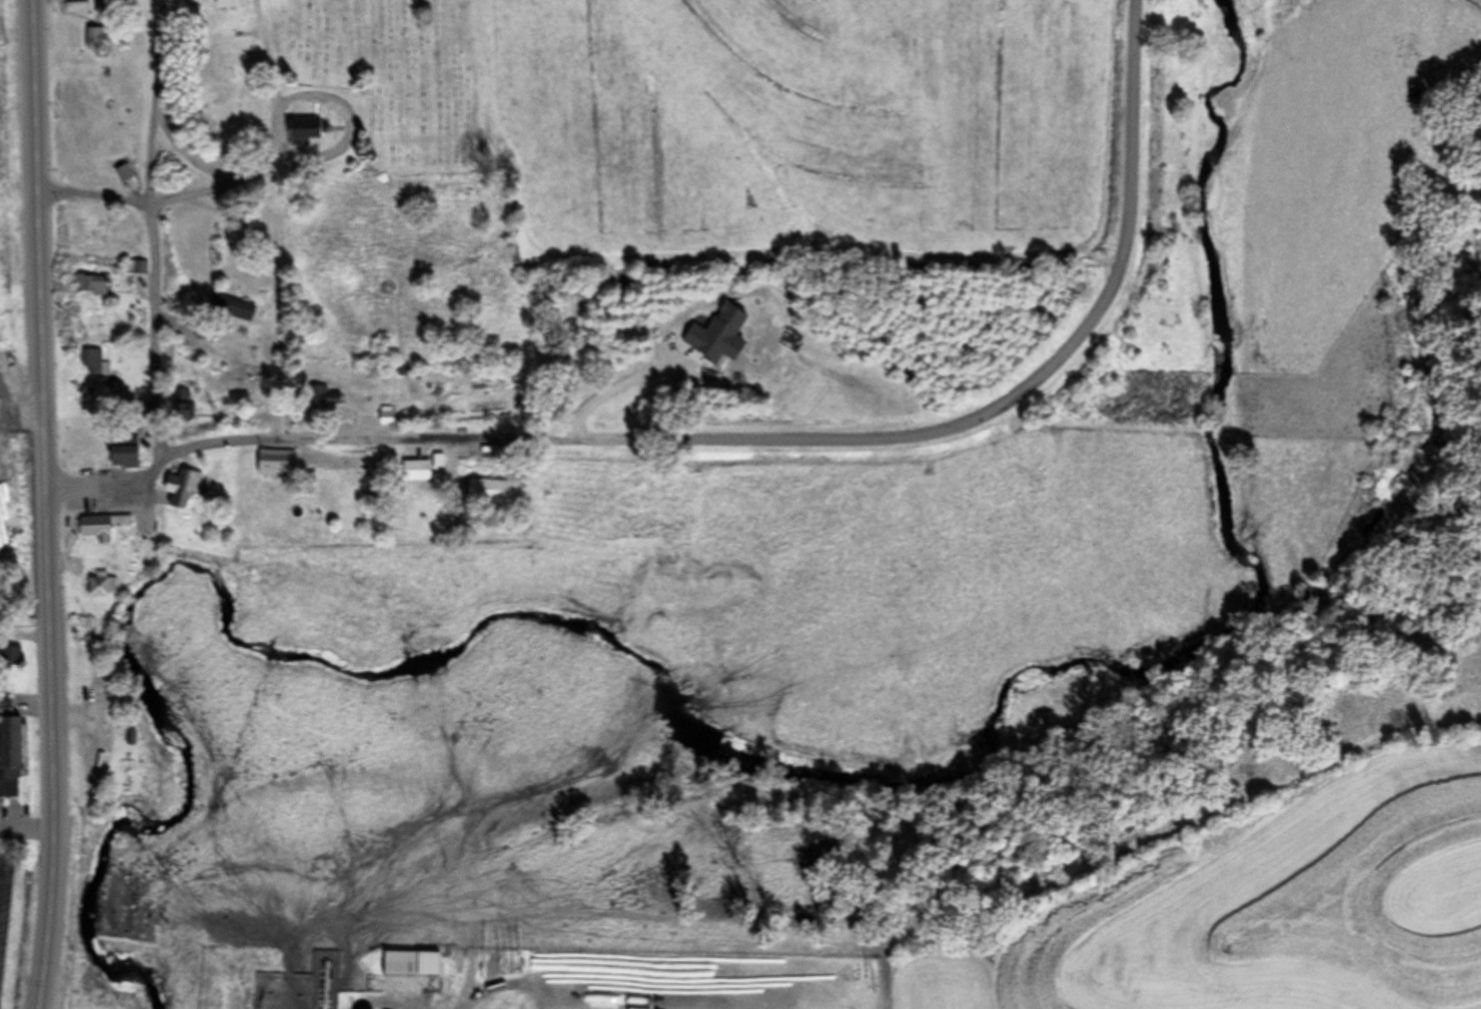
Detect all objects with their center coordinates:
building: (75, 2)
building: (228, 4)
building: (98, 40)
road: (268, 58)
park: (403, 76)
road: (155, 102)
building: (303, 130)
road: (331, 152)
road: (185, 157)
building: (121, 170)
road: (96, 198)
building: (183, 232)
building: (93, 234)
building: (136, 268)
building: (92, 284)
building: (229, 306)
building: (204, 330)
road: (158, 333)
building: (96, 363)
building: (323, 393)
building: (385, 415)
building: (75, 440)
road: (754, 444)
building: (122, 451)
building: (274, 463)
building: (413, 469)
building: (182, 488)
road: (46, 504)
building: (105, 526)
building: (135, 549)
building: (100, 584)
building: (10, 656)
river: (699, 715)
building: (9, 746)
building: (399, 962)
road: (377, 1002)

